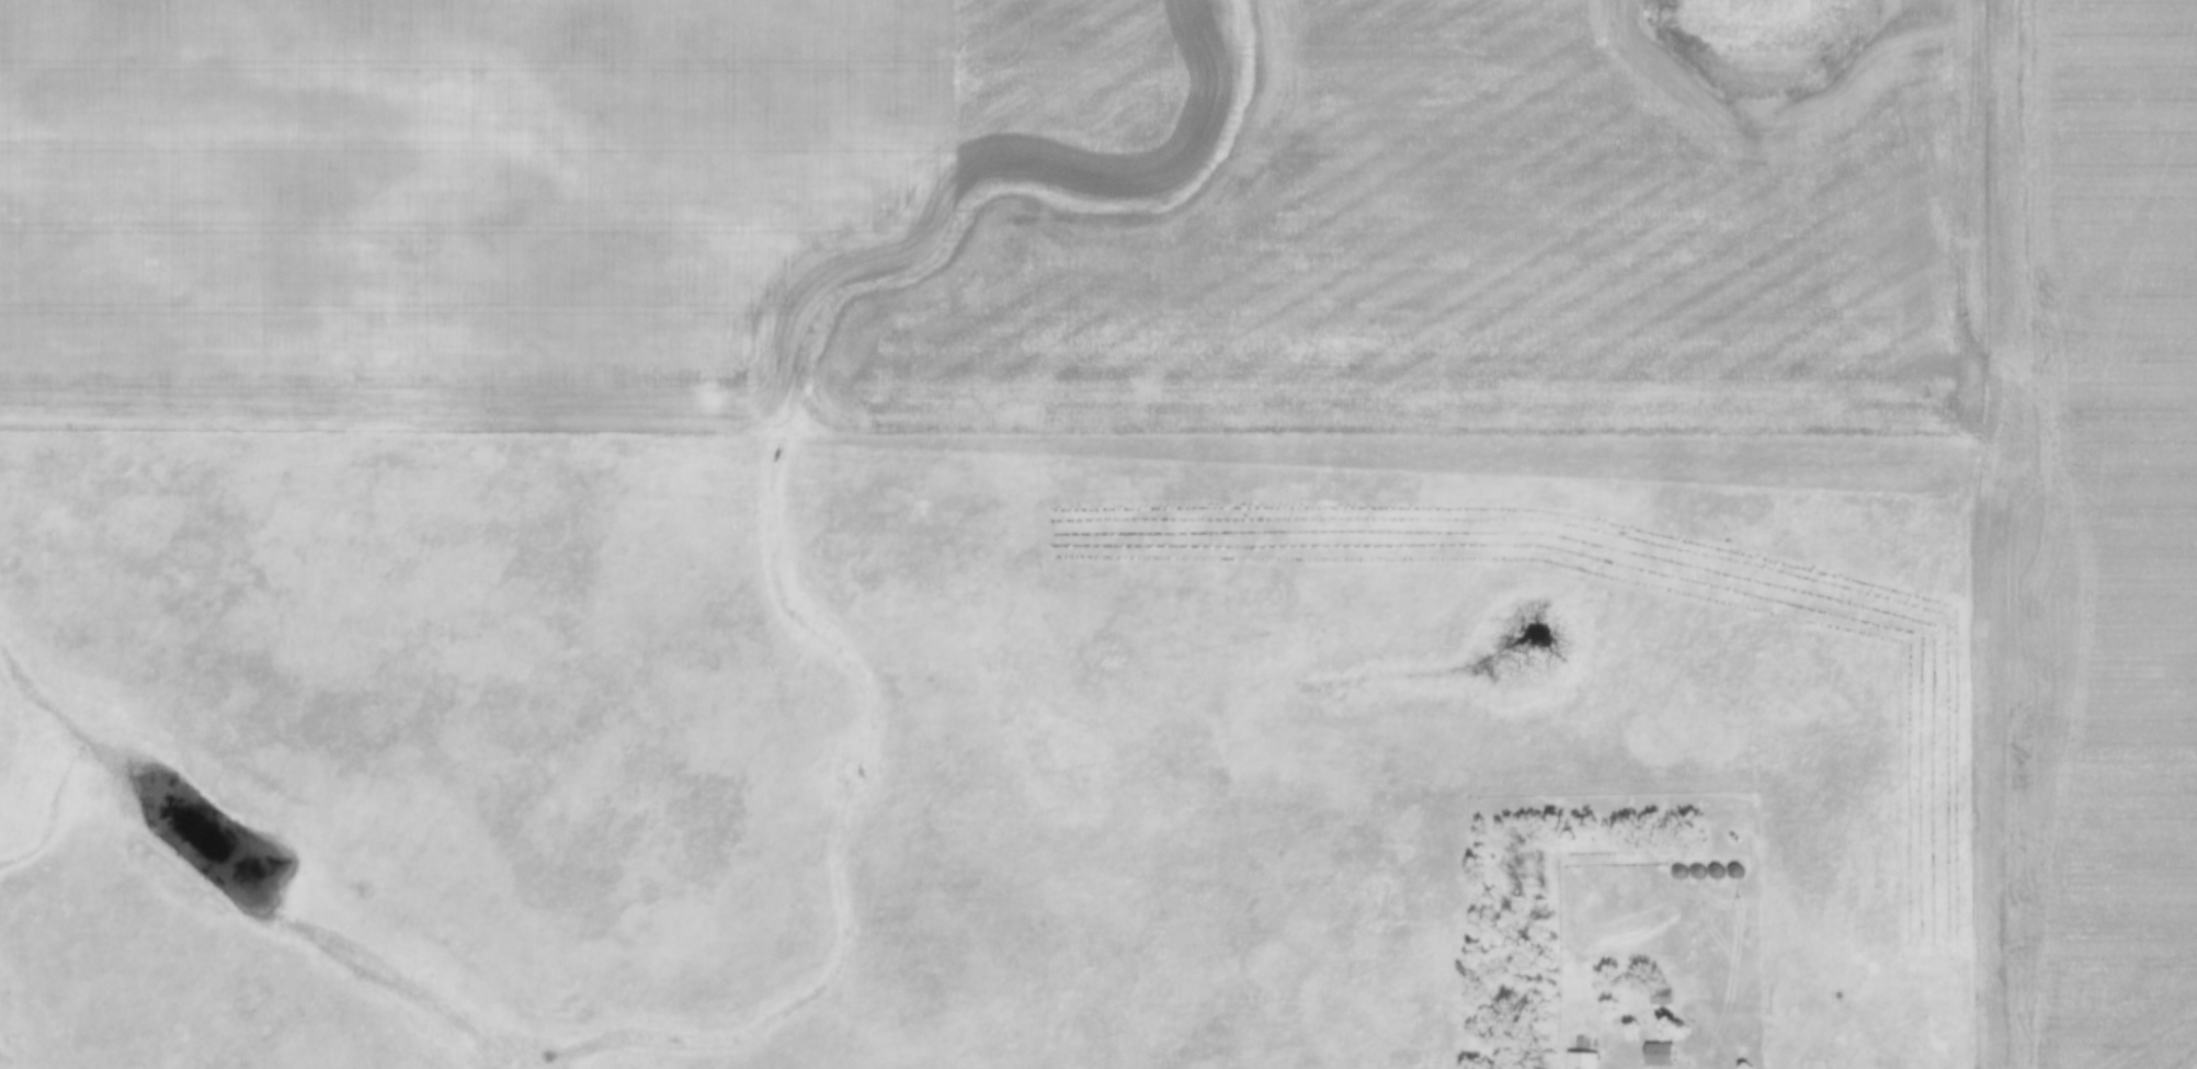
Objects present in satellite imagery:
building: (1718, 873)
building: (1698, 874)
building: (1737, 874)
building: (1663, 1057)
road: (1708, 1059)
building: (1584, 1061)

